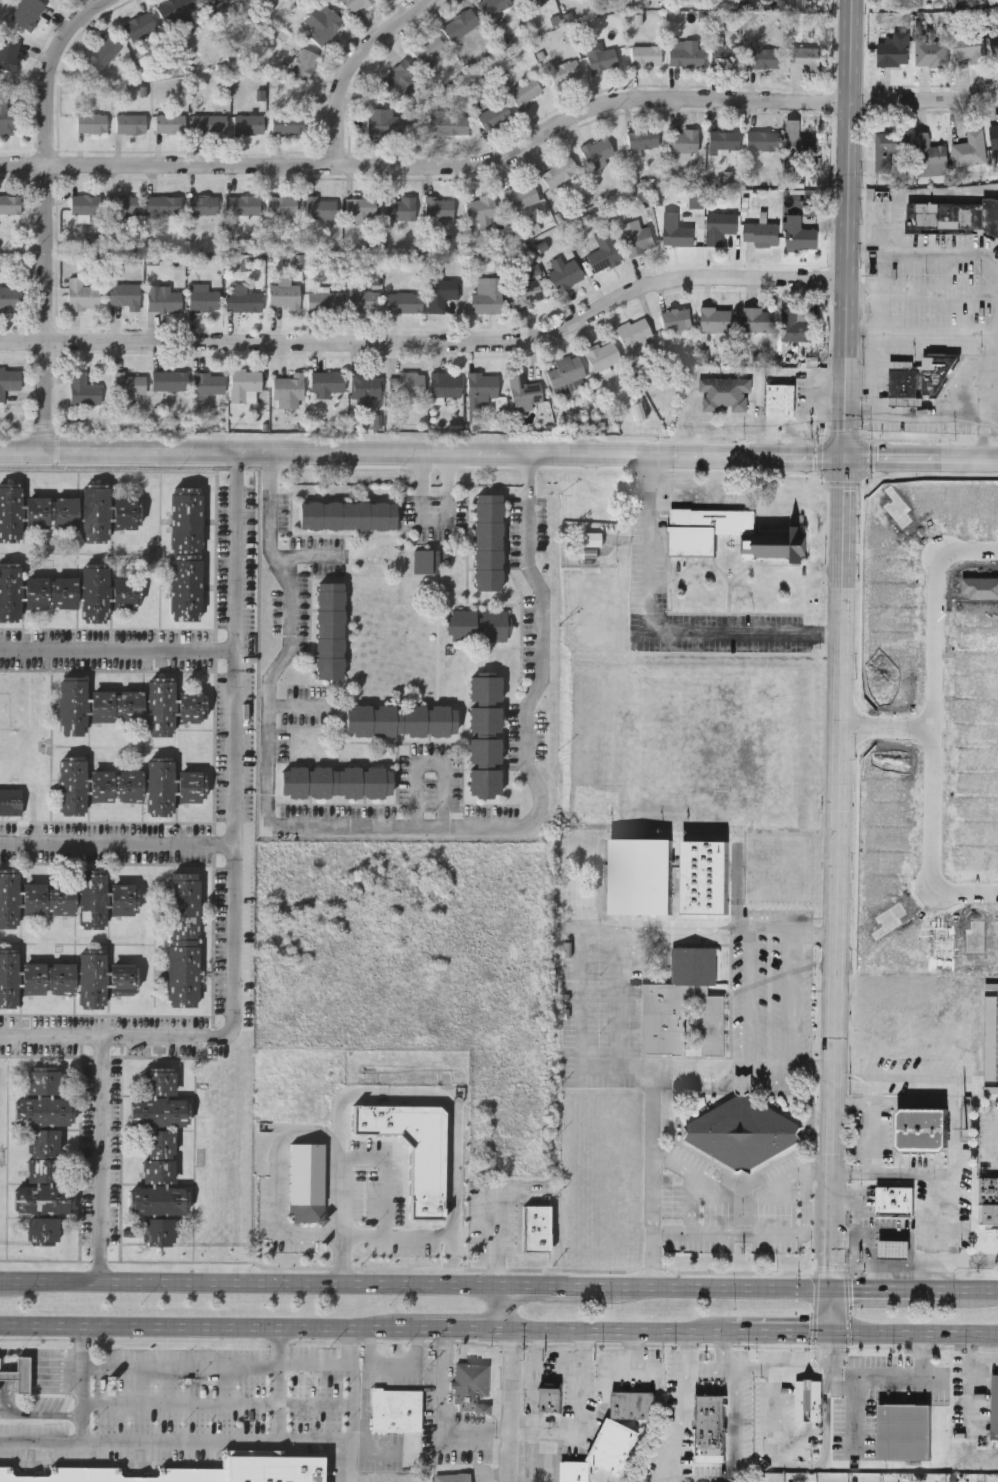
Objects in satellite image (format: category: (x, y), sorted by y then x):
building: (523, 1)
building: (213, 5)
building: (356, 5)
building: (493, 6)
building: (27, 12)
building: (176, 13)
building: (321, 22)
building: (460, 24)
building: (140, 25)
building: (994, 42)
building: (969, 46)
building: (429, 49)
building: (894, 49)
building: (931, 51)
building: (103, 52)
building: (684, 53)
building: (724, 53)
building: (9, 54)
building: (645, 54)
building: (805, 56)
building: (764, 57)
building: (602, 60)
building: (304, 64)
road: (356, 68)
building: (563, 71)
building: (399, 79)
building: (525, 91)
building: (494, 115)
building: (6, 120)
building: (383, 121)
building: (91, 122)
building: (446, 122)
building: (130, 123)
building: (169, 123)
building: (208, 123)
building: (249, 124)
building: (289, 124)
building: (994, 134)
building: (642, 138)
building: (723, 140)
building: (762, 140)
building: (682, 141)
building: (802, 143)
building: (970, 148)
building: (597, 150)
building: (890, 150)
building: (929, 155)
road: (506, 161)
building: (559, 171)
building: (522, 196)
building: (10, 204)
building: (85, 204)
building: (202, 204)
building: (123, 205)
building: (163, 205)
building: (243, 205)
building: (281, 205)
building: (319, 208)
building: (399, 208)
building: (438, 208)
building: (360, 209)
building: (479, 209)
road: (50, 212)
building: (955, 216)
building: (720, 225)
building: (676, 229)
building: (800, 231)
building: (762, 232)
building: (637, 238)
building: (604, 251)
road: (928, 255)
building: (565, 274)
parking lot: (930, 274)
building: (440, 289)
building: (527, 292)
road: (923, 293)
building: (81, 294)
building: (124, 294)
building: (284, 294)
building: (10, 297)
building: (163, 299)
building: (203, 299)
building: (242, 299)
building: (363, 299)
building: (323, 301)
building: (404, 301)
parking lot: (928, 315)
building: (716, 317)
building: (676, 318)
building: (758, 318)
building: (793, 324)
road: (922, 330)
road: (431, 340)
building: (634, 341)
building: (603, 355)
building: (566, 369)
building: (937, 369)
road: (871, 372)
parking lot: (881, 372)
building: (9, 379)
building: (169, 380)
building: (327, 380)
building: (902, 381)
building: (209, 382)
building: (244, 383)
building: (406, 383)
building: (445, 383)
building: (130, 384)
building: (365, 384)
building: (482, 384)
parking lot: (953, 384)
building: (83, 388)
building: (287, 391)
building: (524, 391)
building: (725, 393)
road: (994, 393)
building: (781, 399)
gas station: (781, 399)
road: (917, 415)
parking lot: (913, 427)
road: (499, 454)
traffic signals: (845, 459)
building: (51, 510)
building: (126, 510)
building: (10, 511)
building: (95, 511)
building: (348, 514)
building: (773, 534)
building: (488, 541)
building: (592, 541)
building: (186, 551)
road: (968, 552)
building: (426, 560)
parking lot: (648, 563)
building: (50, 590)
building: (126, 590)
building: (10, 591)
building: (95, 592)
building: (480, 624)
building: (330, 630)
road: (656, 635)
road: (842, 643)
road: (118, 649)
building: (116, 704)
building: (191, 704)
building: (73, 705)
building: (161, 705)
road: (300, 705)
building: (401, 719)
road: (934, 721)
road: (888, 724)
building: (485, 735)
road: (433, 766)
building: (336, 780)
building: (116, 783)
building: (191, 784)
building: (72, 785)
building: (160, 785)
building: (11, 800)
road: (234, 805)
road: (400, 827)
road: (117, 846)
building: (641, 875)
building: (706, 875)
road: (964, 891)
building: (50, 898)
building: (124, 898)
building: (10, 899)
building: (95, 900)
road: (766, 925)
road: (814, 933)
building: (183, 937)
building: (50, 978)
building: (125, 978)
building: (9, 979)
building: (94, 980)
building: (991, 985)
road: (623, 996)
road: (751, 996)
road: (792, 996)
building: (684, 1005)
road: (51, 1035)
building: (992, 1036)
road: (584, 1037)
road: (771, 1068)
road: (815, 1068)
building: (44, 1080)
building: (160, 1081)
building: (992, 1089)
building: (43, 1111)
building: (160, 1112)
building: (922, 1127)
building: (743, 1129)
road: (873, 1137)
road: (956, 1138)
road: (457, 1147)
building: (413, 1149)
building: (44, 1155)
building: (159, 1157)
road: (102, 1159)
road: (281, 1164)
road: (655, 1176)
road: (389, 1177)
building: (307, 1183)
road: (729, 1194)
road: (783, 1196)
building: (44, 1199)
building: (159, 1199)
building: (895, 1199)
building: (988, 1199)
road: (694, 1203)
road: (502, 1223)
building: (536, 1228)
building: (43, 1230)
building: (158, 1231)
road: (775, 1232)
building: (894, 1247)
gas station: (894, 1247)
road: (984, 1260)
road: (336, 1283)
road: (753, 1287)
traffic signals: (835, 1288)
road: (894, 1288)
road: (975, 1289)
road: (834, 1309)
road: (365, 1326)
road: (782, 1329)
traffic signals: (834, 1330)
road: (878, 1330)
road: (960, 1331)
road: (834, 1349)
road: (923, 1350)
road: (634, 1352)
road: (41, 1354)
road: (537, 1354)
road: (44, 1365)
road: (709, 1365)
road: (219, 1368)
road: (834, 1369)
road: (38, 1370)
building: (19, 1374)
road: (980, 1374)
road: (631, 1375)
road: (45, 1378)
road: (84, 1383)
road: (510, 1384)
road: (41, 1385)
road: (442, 1386)
building: (471, 1389)
road: (582, 1399)
building: (551, 1400)
road: (7, 1401)
building: (808, 1401)
road: (775, 1403)
building: (632, 1404)
road: (855, 1406)
road: (219, 1407)
building: (995, 1409)
parking lot: (168, 1413)
building: (396, 1413)
road: (11, 1416)
road: (355, 1421)
building: (710, 1427)
building: (904, 1431)
road: (198, 1444)
building: (613, 1445)
road: (354, 1460)
building: (200, 1471)
building: (575, 1471)
road: (701, 1478)
building: (454, 1479)

